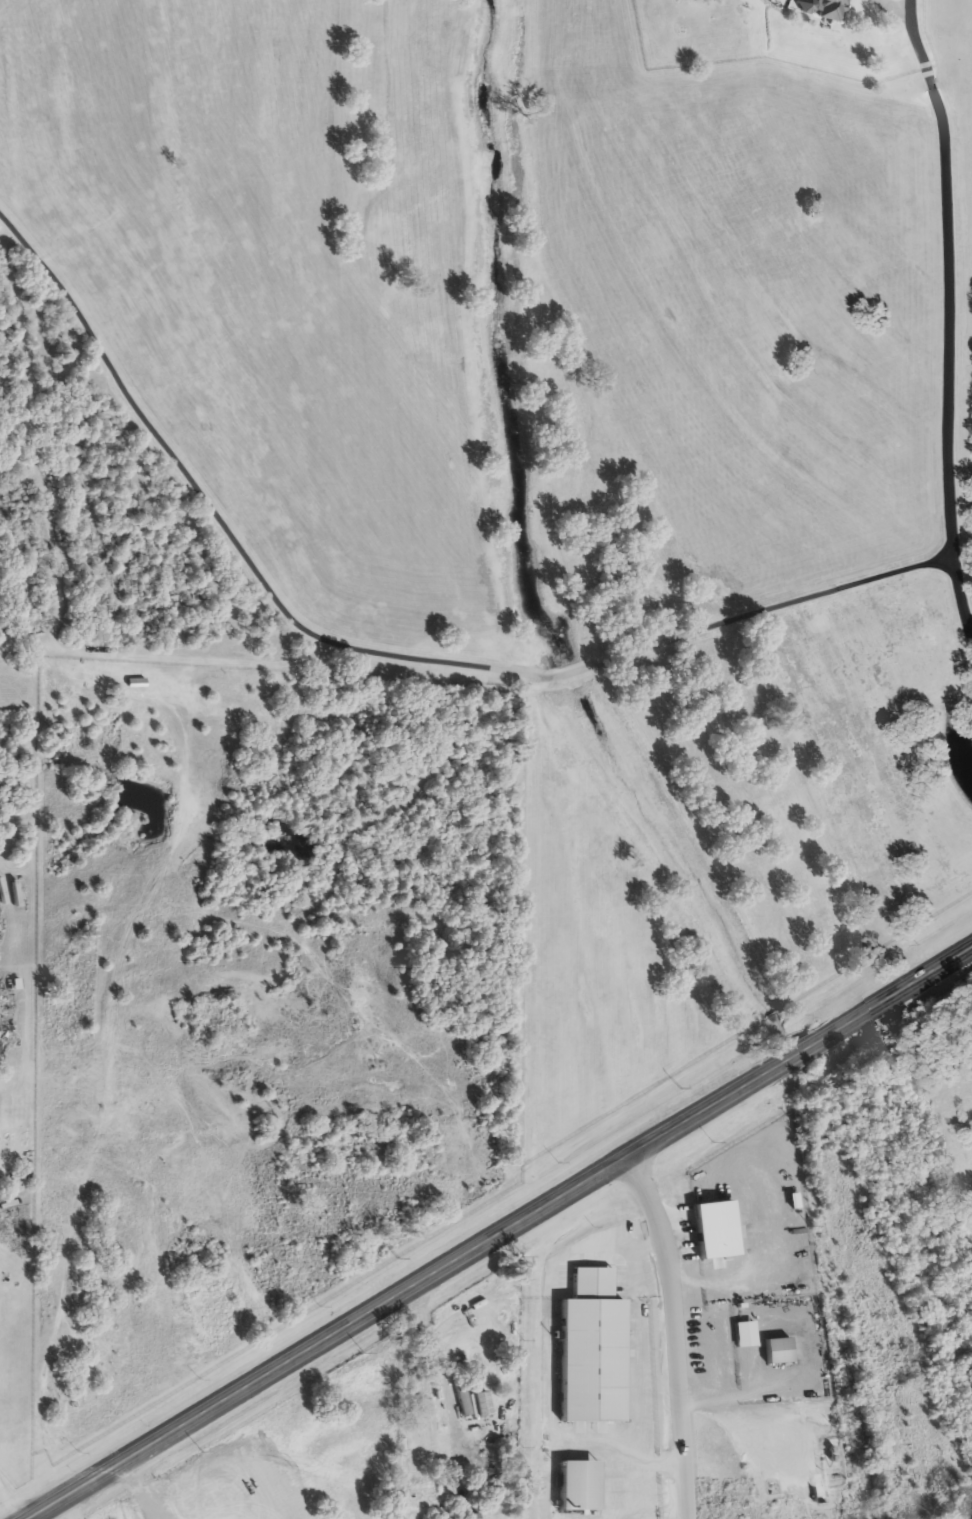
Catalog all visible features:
building: (824, 9)
road: (945, 311)
road: (142, 412)
road: (620, 655)
road: (506, 1235)
road: (673, 1336)
building: (592, 1350)
road: (441, 1382)
road: (136, 1493)
road: (8, 1505)
building: (468, 1516)
building: (177, 1517)

